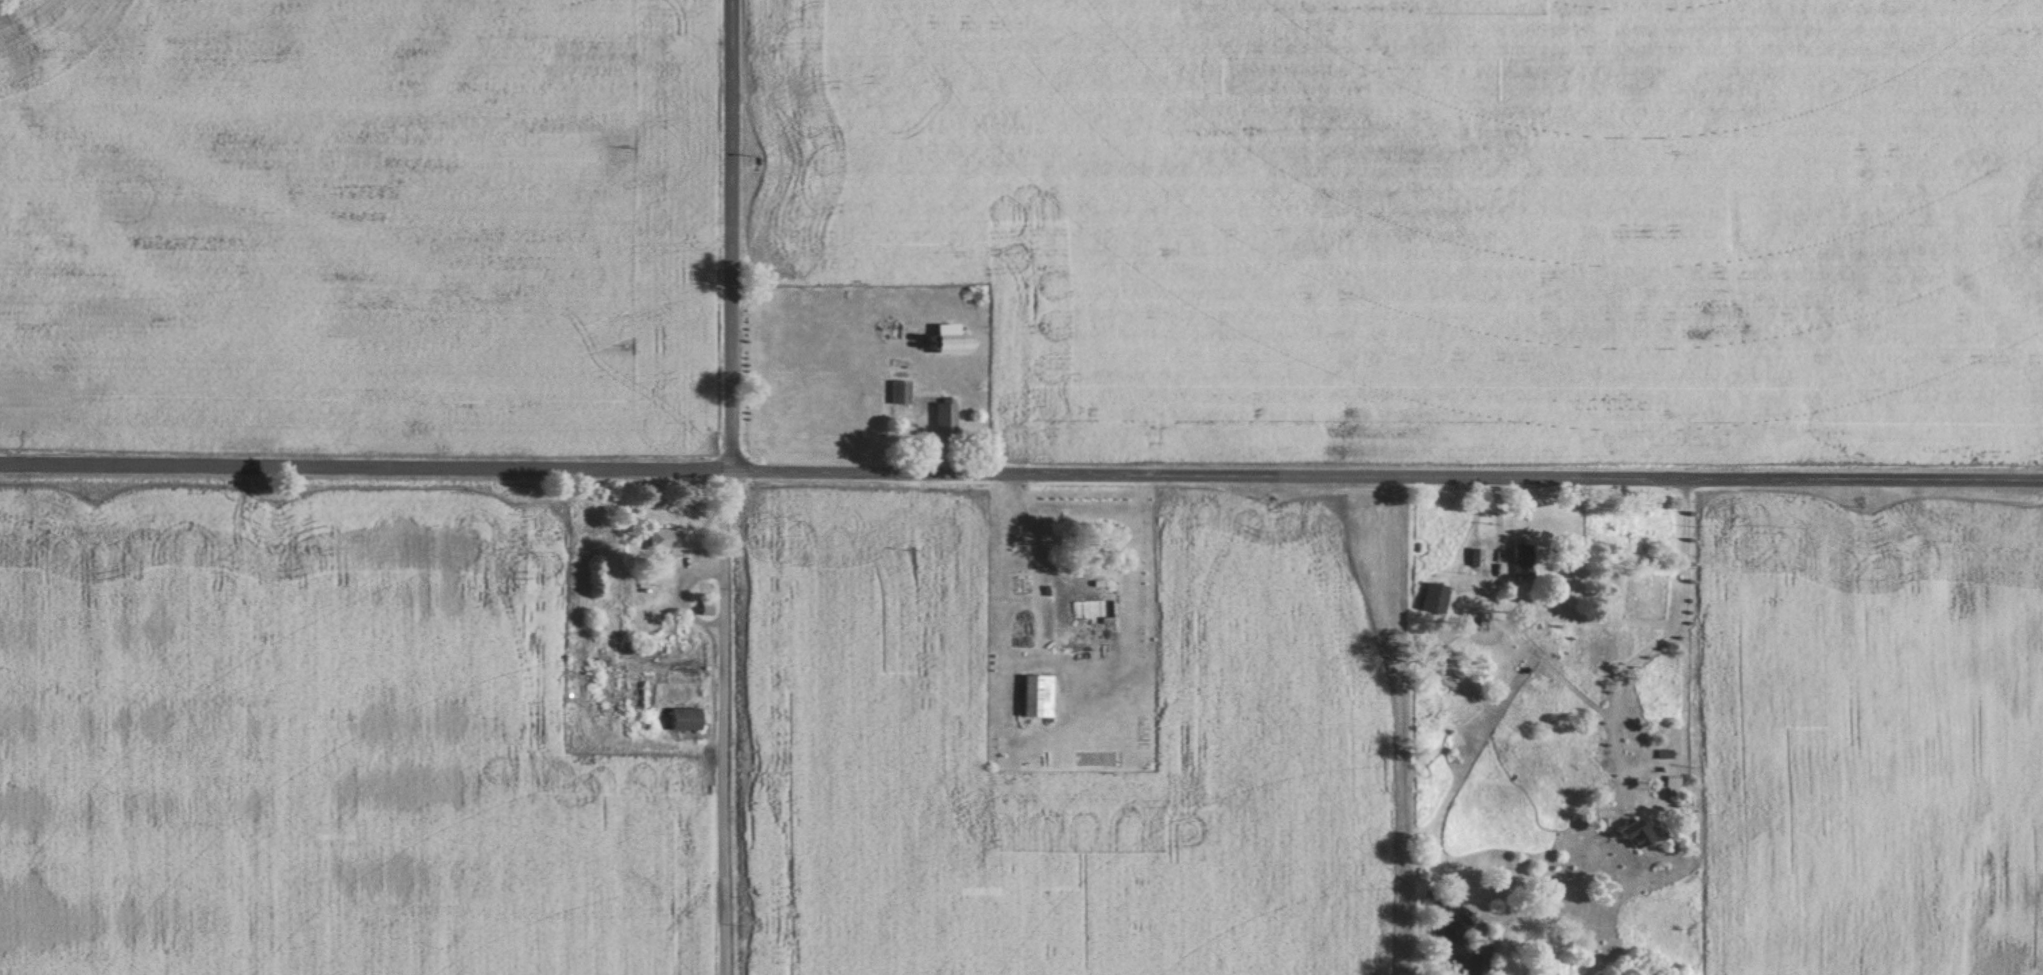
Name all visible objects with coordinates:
building: (902, 392)
building: (947, 419)
road: (1021, 471)
road: (733, 487)
building: (671, 539)
building: (1521, 560)
building: (1437, 597)
building: (1095, 610)
road: (1659, 638)
building: (612, 662)
building: (1039, 696)
building: (686, 718)
building: (1633, 831)

